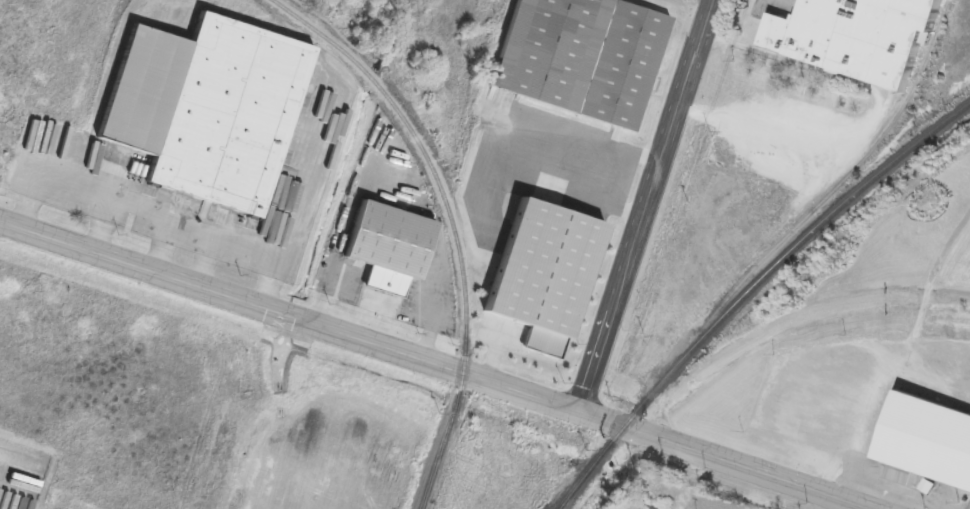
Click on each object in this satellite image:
building: (855, 37)
building: (578, 58)
road: (726, 78)
building: (206, 108)
road: (874, 115)
road: (648, 206)
railway: (454, 223)
building: (388, 246)
railway: (785, 253)
railway: (794, 320)
road: (435, 365)
building: (937, 427)
railway: (596, 468)
road: (10, 483)

